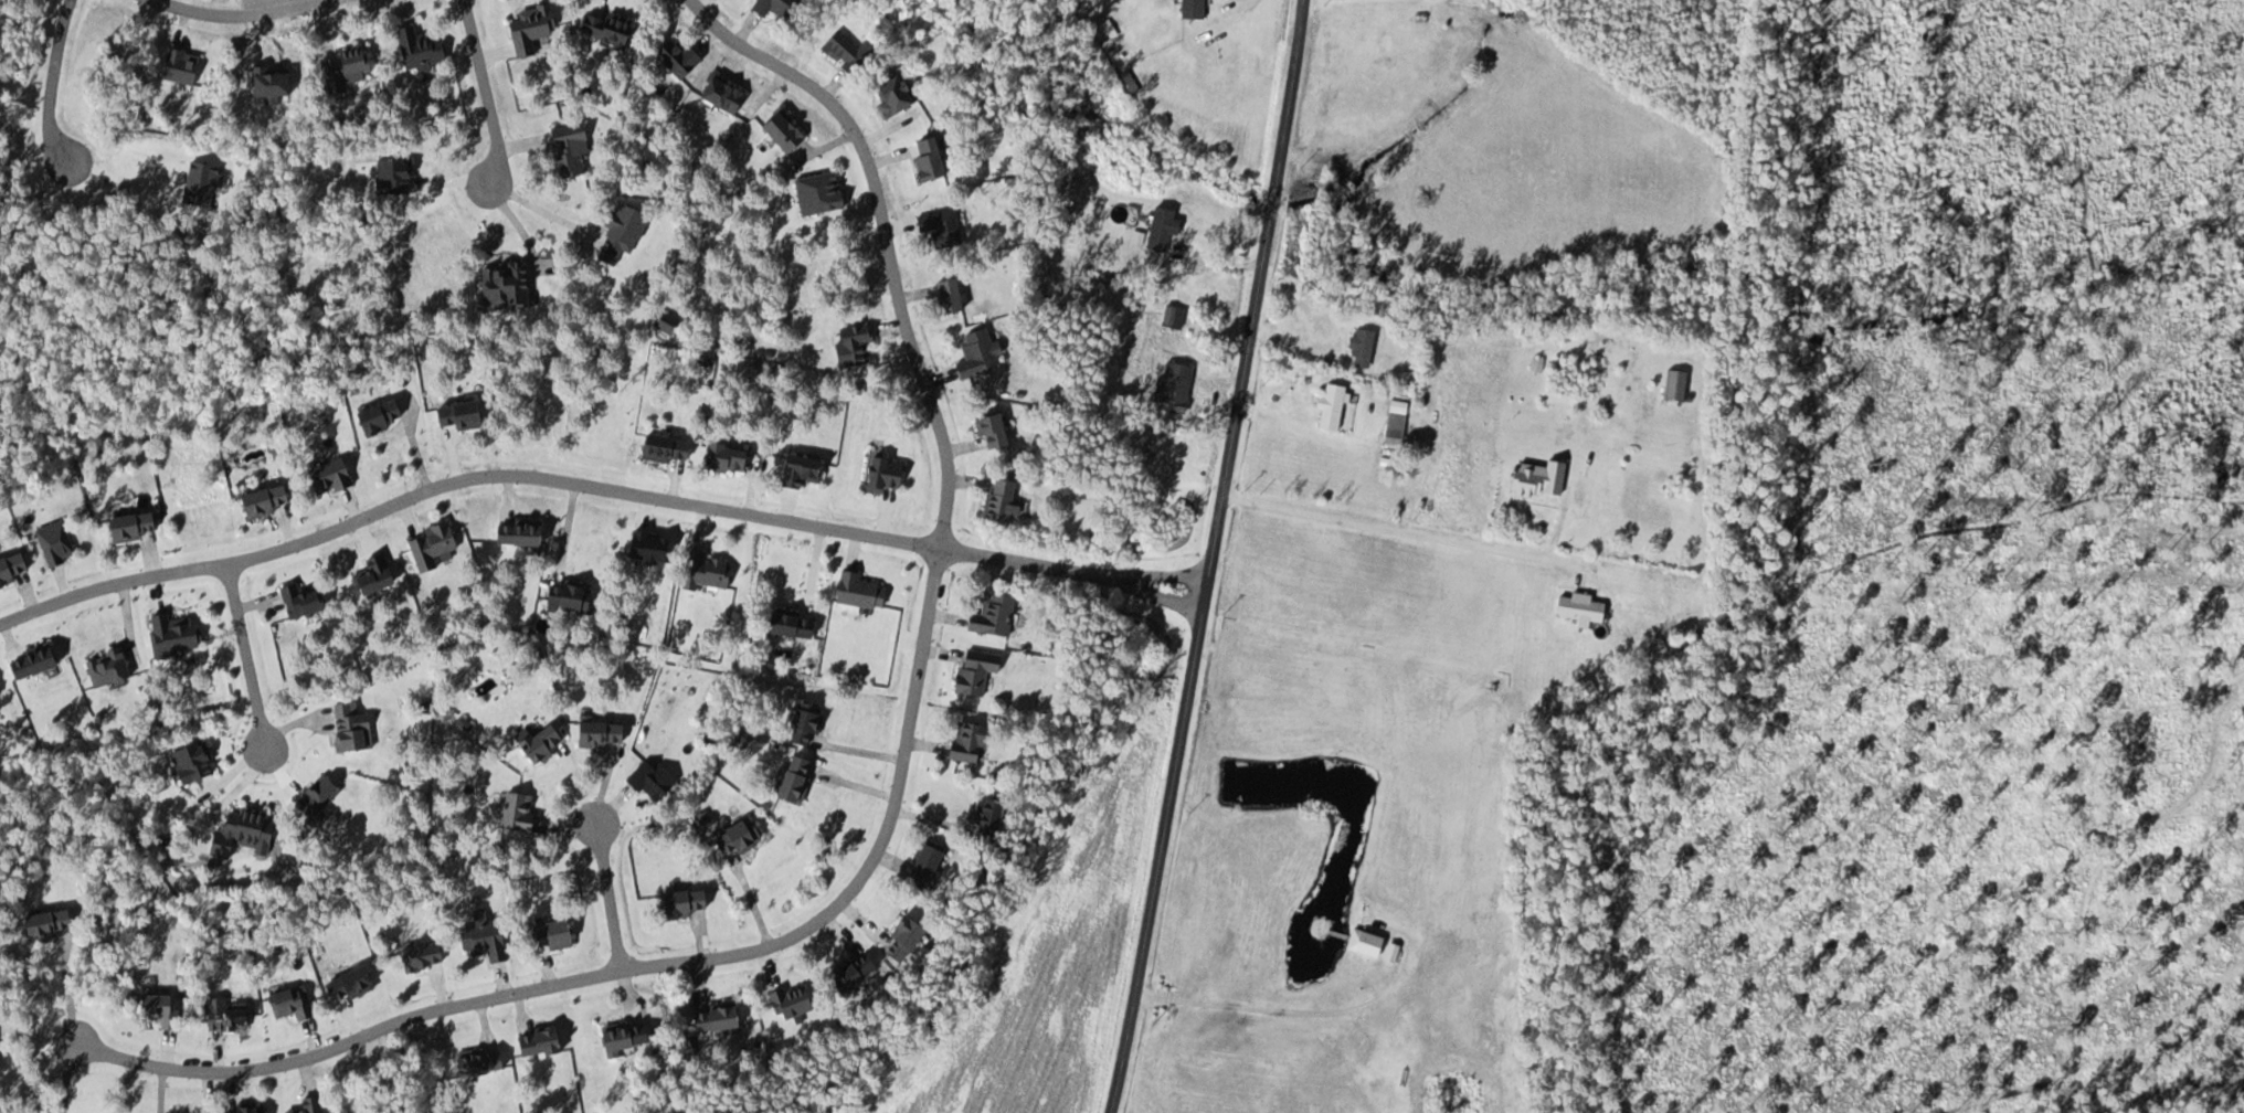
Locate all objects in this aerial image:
building: (772, 7)
building: (1189, 8)
road: (242, 13)
building: (604, 26)
building: (529, 29)
building: (416, 46)
building: (841, 51)
building: (676, 55)
building: (342, 67)
road: (50, 83)
road: (487, 91)
building: (890, 95)
building: (719, 96)
building: (779, 130)
building: (565, 148)
building: (923, 158)
building: (392, 176)
building: (1071, 185)
building: (939, 225)
building: (1160, 227)
road: (885, 235)
building: (500, 284)
building: (945, 296)
building: (1172, 316)
building: (848, 346)
building: (1359, 347)
building: (973, 354)
building: (1674, 384)
building: (1172, 386)
building: (1330, 405)
building: (453, 414)
building: (373, 416)
building: (1394, 422)
building: (988, 431)
building: (661, 448)
building: (721, 457)
building: (796, 470)
building: (880, 474)
building: (326, 476)
building: (1537, 478)
road: (594, 488)
building: (261, 500)
building: (997, 501)
building: (126, 527)
building: (515, 532)
building: (428, 543)
road: (1209, 556)
building: (9, 566)
building: (706, 570)
building: (370, 572)
road: (1155, 573)
building: (857, 590)
building: (564, 595)
building: (297, 598)
building: (1577, 606)
building: (989, 614)
building: (787, 623)
building: (170, 633)
road: (245, 655)
building: (28, 660)
building: (104, 666)
building: (972, 669)
building: (801, 722)
building: (348, 725)
building: (596, 732)
building: (966, 740)
building: (536, 741)
building: (189, 760)
building: (792, 777)
building: (649, 781)
building: (317, 798)
building: (518, 810)
building: (984, 817)
building: (239, 831)
building: (732, 836)
building: (921, 865)
road: (610, 894)
building: (678, 901)
building: (36, 922)
building: (547, 933)
building: (898, 936)
building: (479, 939)
building: (1362, 941)
building: (1390, 952)
building: (417, 954)
road: (642, 965)
building: (847, 972)
building: (343, 982)
building: (787, 999)
building: (287, 1001)
building: (152, 1005)
building: (223, 1013)
building: (709, 1017)
building: (618, 1037)
building: (533, 1040)
building: (474, 1061)
building: (307, 1104)
building: (240, 1109)

